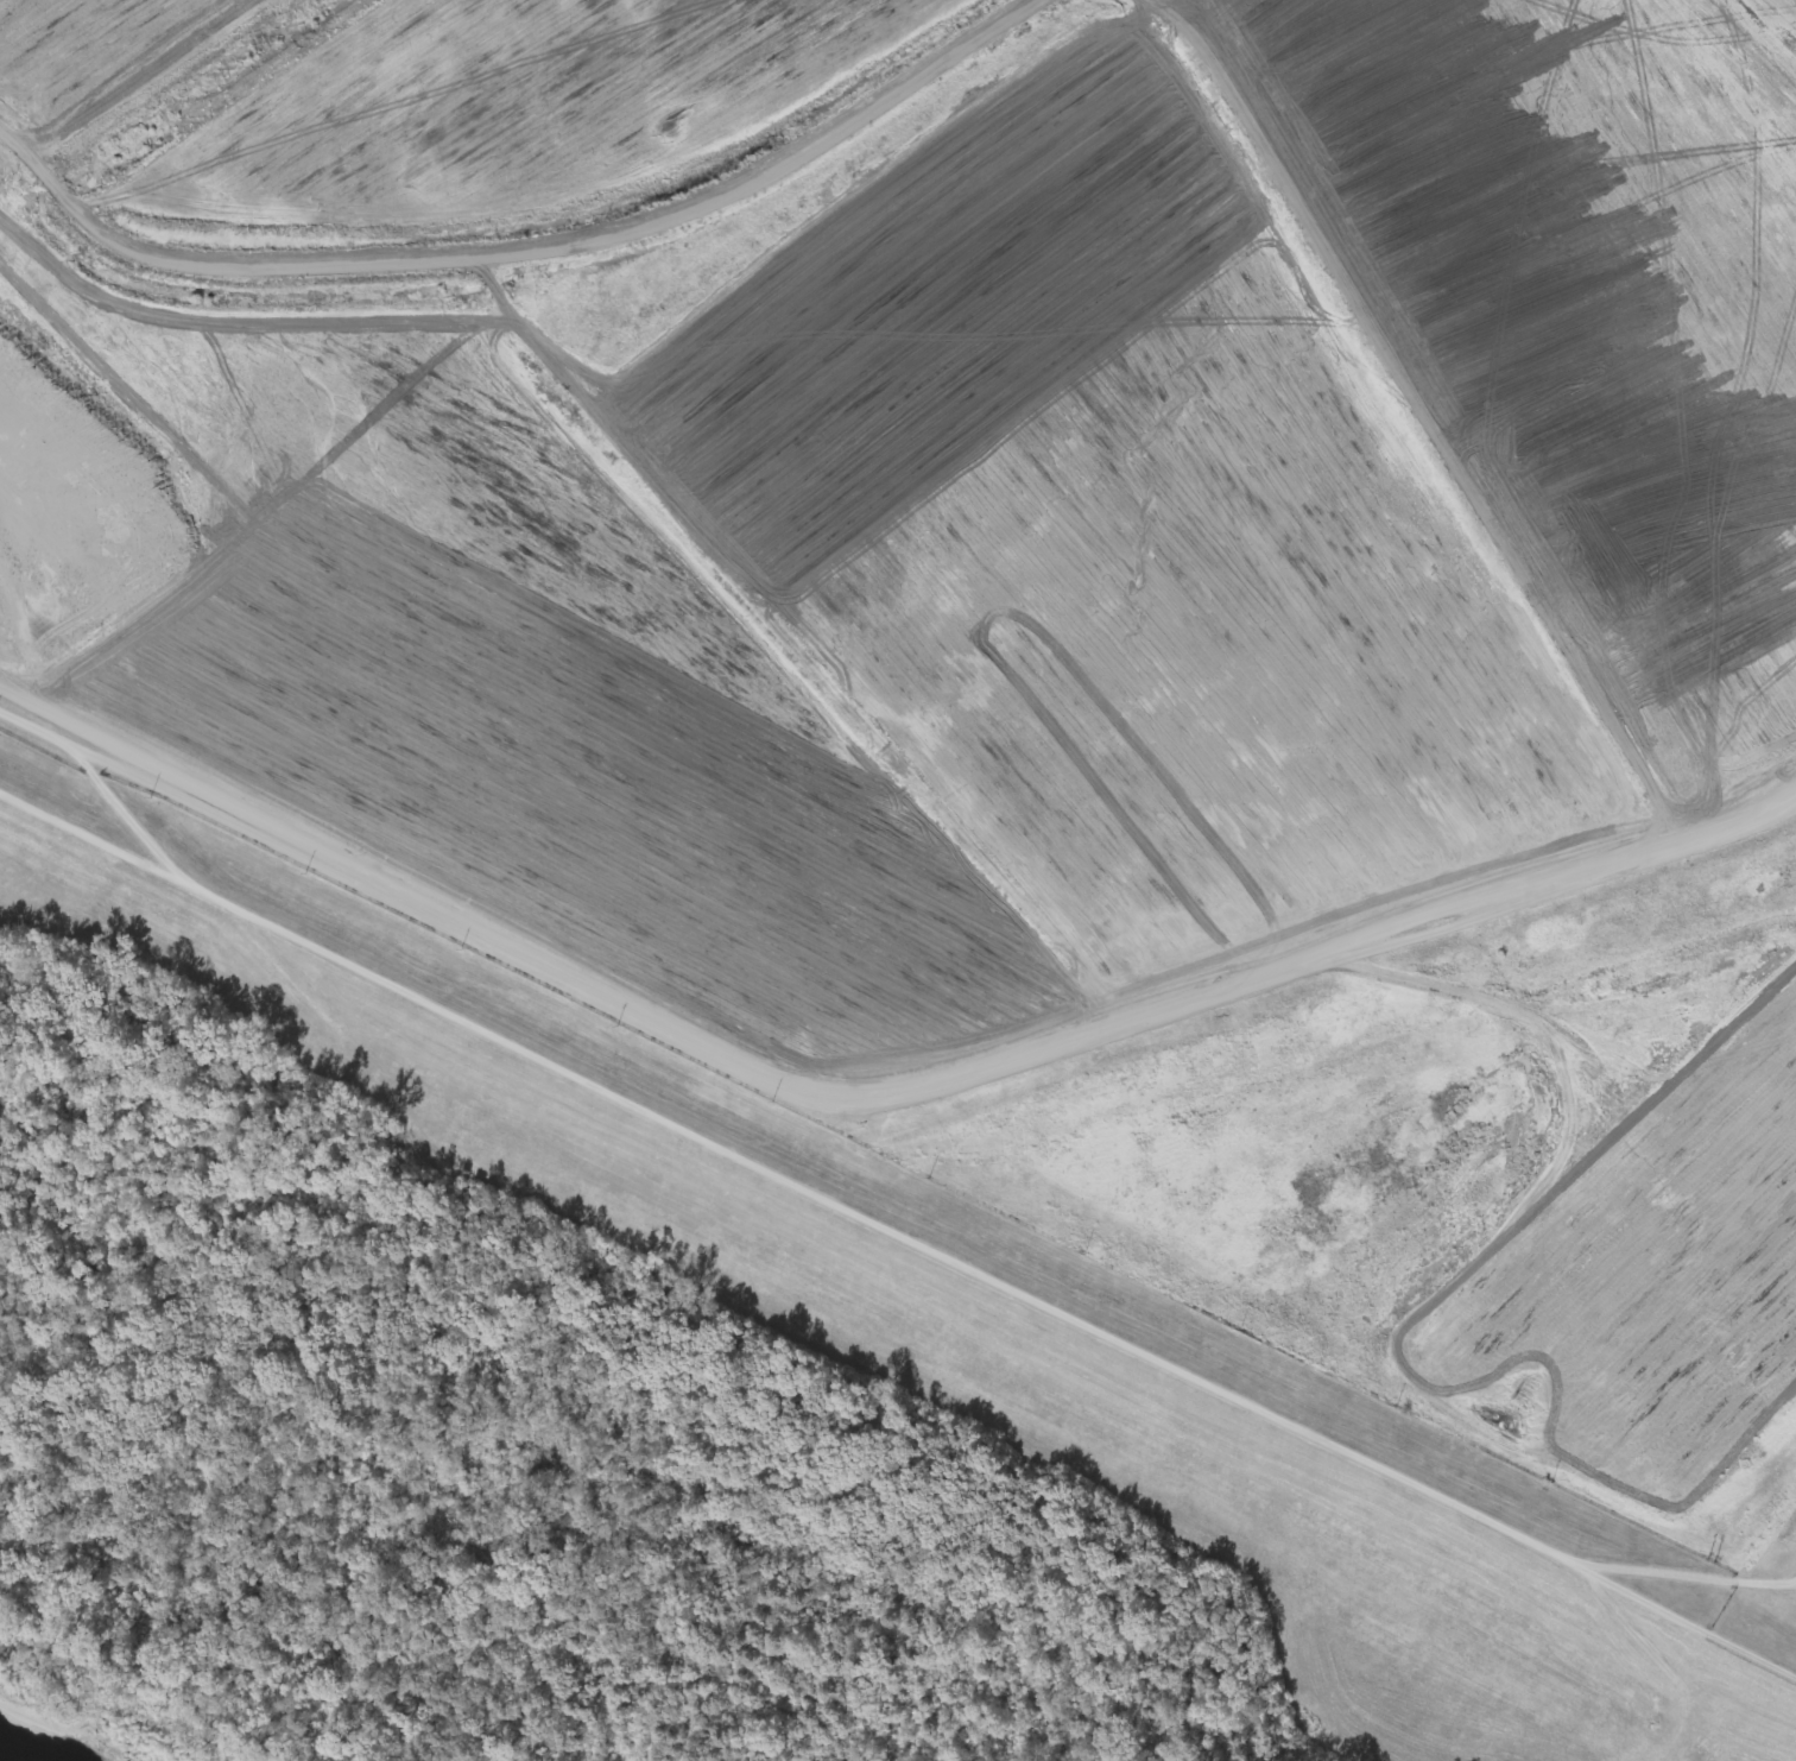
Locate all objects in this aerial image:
wastewater plant: (999, 665)
road: (796, 1184)
road: (1612, 1572)
road: (1713, 1572)

